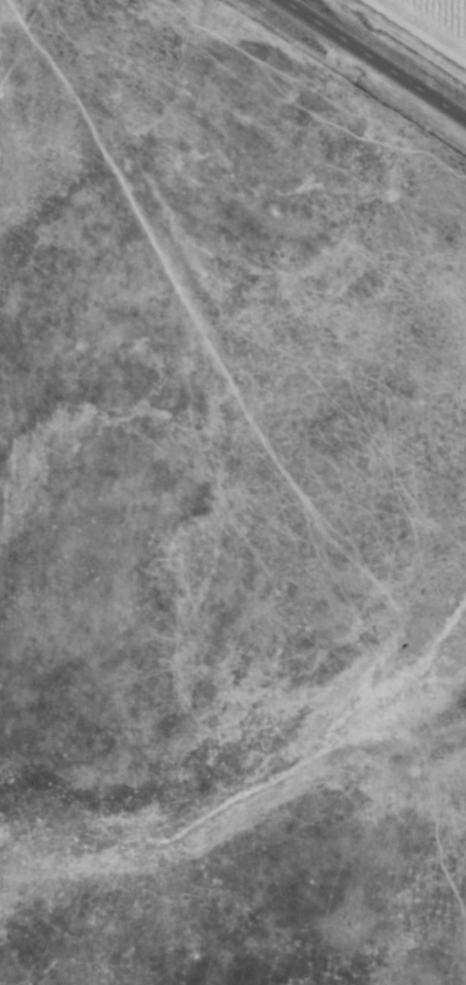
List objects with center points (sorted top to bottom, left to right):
road: (370, 60)

